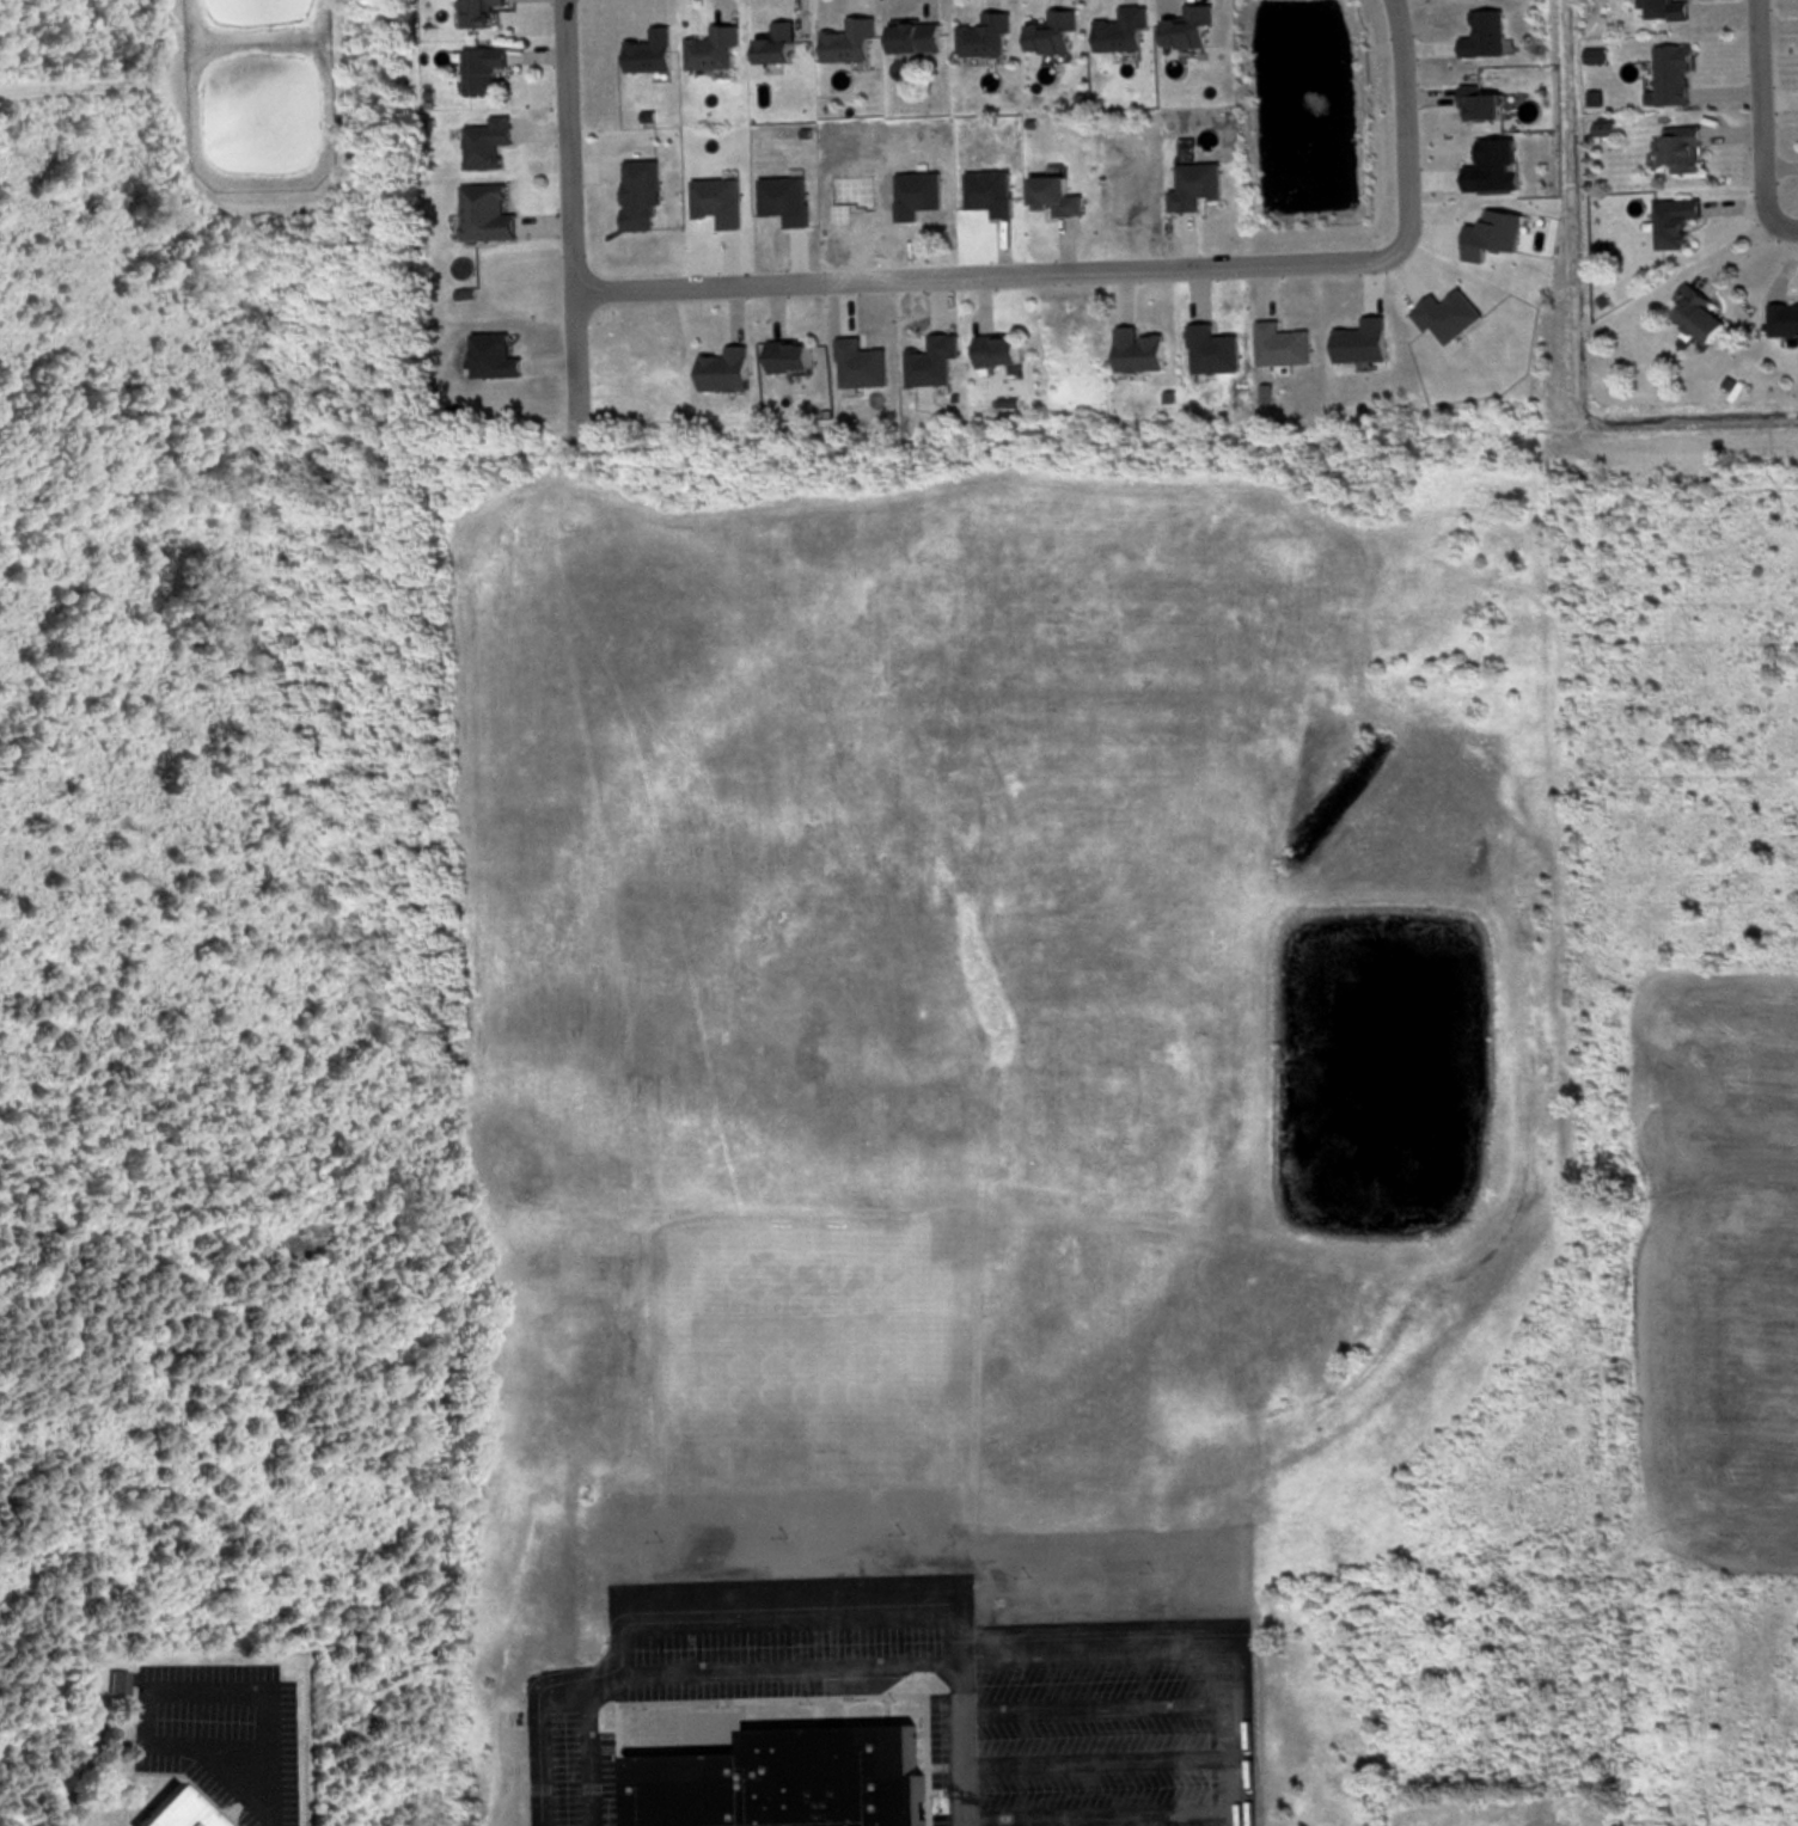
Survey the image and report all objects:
building: (1664, 8)
building: (475, 12)
building: (1185, 25)
building: (1118, 27)
building: (1048, 31)
building: (1482, 32)
building: (981, 35)
building: (911, 36)
building: (846, 39)
building: (773, 43)
building: (710, 47)
building: (647, 50)
building: (479, 67)
building: (1670, 73)
building: (1476, 102)
road: (1769, 111)
road: (1403, 127)
building: (1677, 147)
building: (1192, 184)
building: (1051, 195)
building: (483, 213)
road: (570, 220)
building: (1672, 220)
road: (1787, 222)
road: (990, 274)
building: (1695, 313)
building: (1782, 317)
building: (996, 350)
building: (1137, 350)
building: (787, 356)
building: (722, 369)
road: (790, 1604)
road: (1181, 1652)
road: (788, 1673)
building: (114, 1679)
road: (146, 1691)
road: (1095, 1706)
road: (540, 1714)
road: (588, 1745)
road: (956, 1746)
road: (1096, 1759)
building: (785, 1779)
road: (274, 1787)
building: (170, 1809)
road: (1097, 1810)

